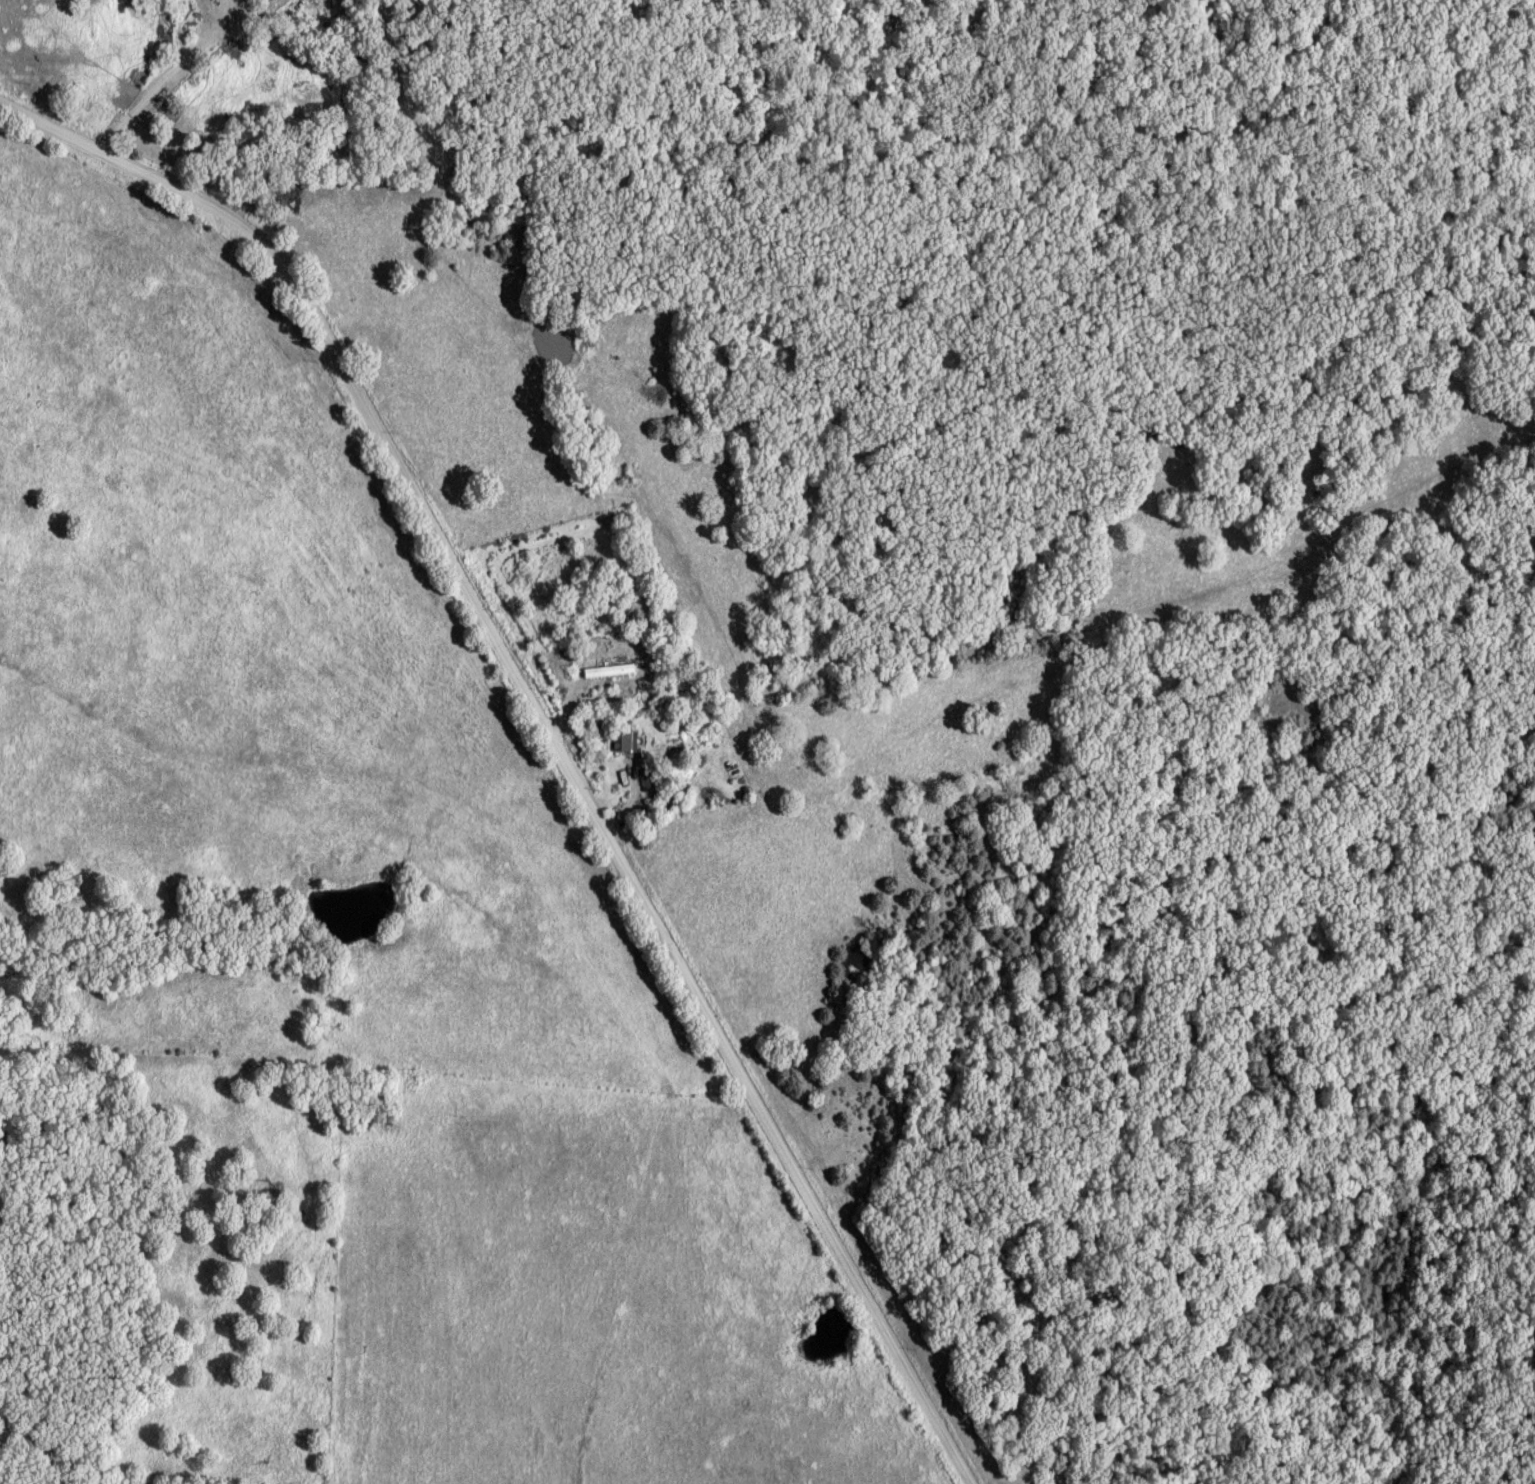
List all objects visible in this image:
road: (170, 76)
road: (549, 729)
building: (624, 741)
building: (651, 777)

